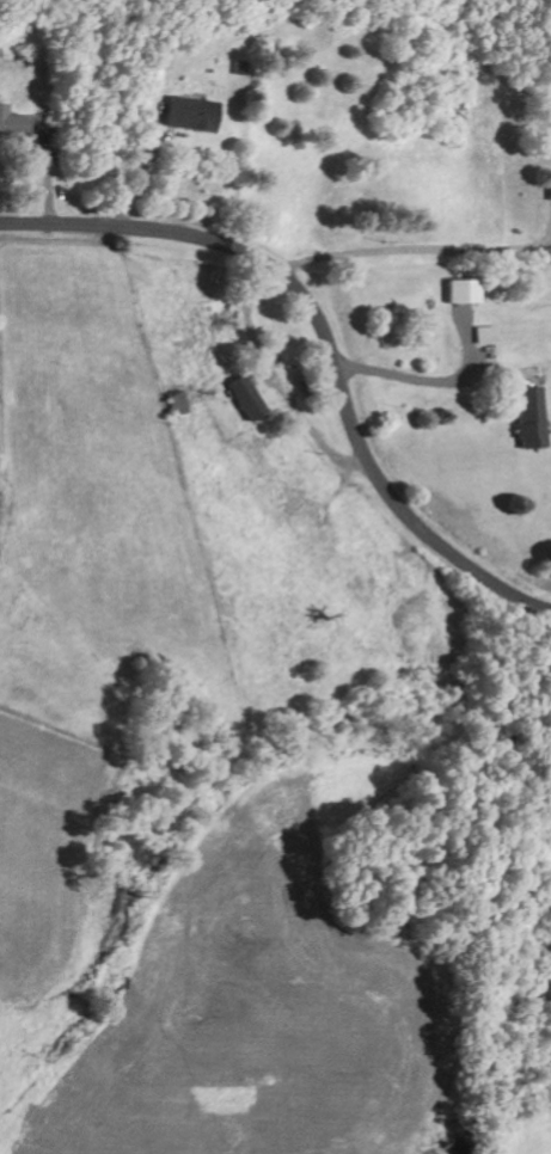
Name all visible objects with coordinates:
building: (191, 113)
building: (14, 124)
building: (464, 290)
road: (320, 339)
building: (246, 397)
building: (531, 417)

